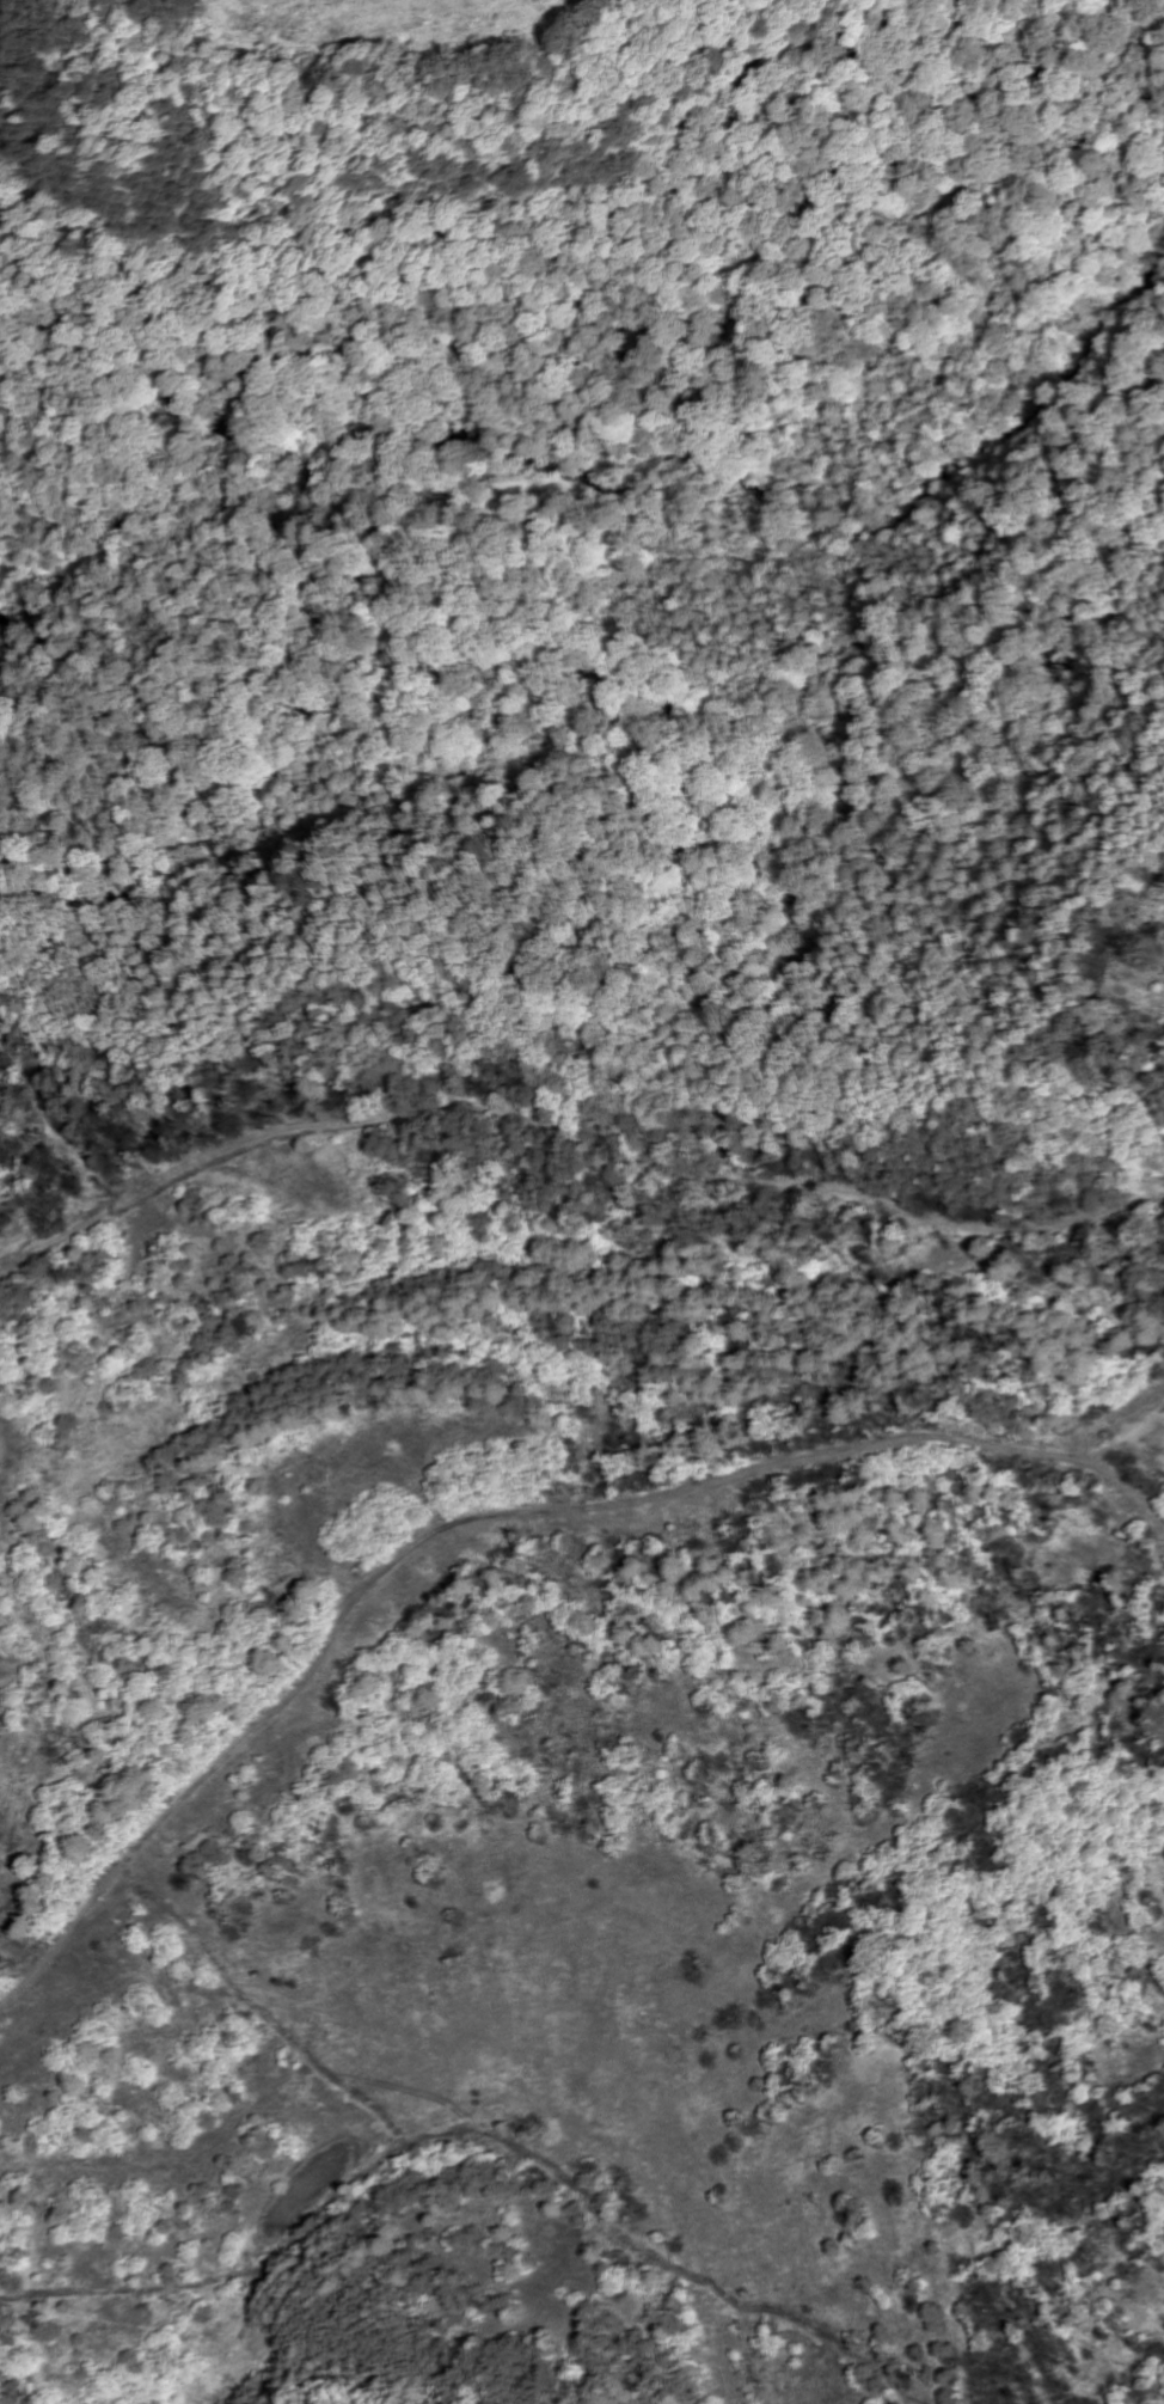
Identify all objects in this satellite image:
road: (570, 1124)
road: (13, 1417)
road: (495, 1516)
road: (158, 1582)

